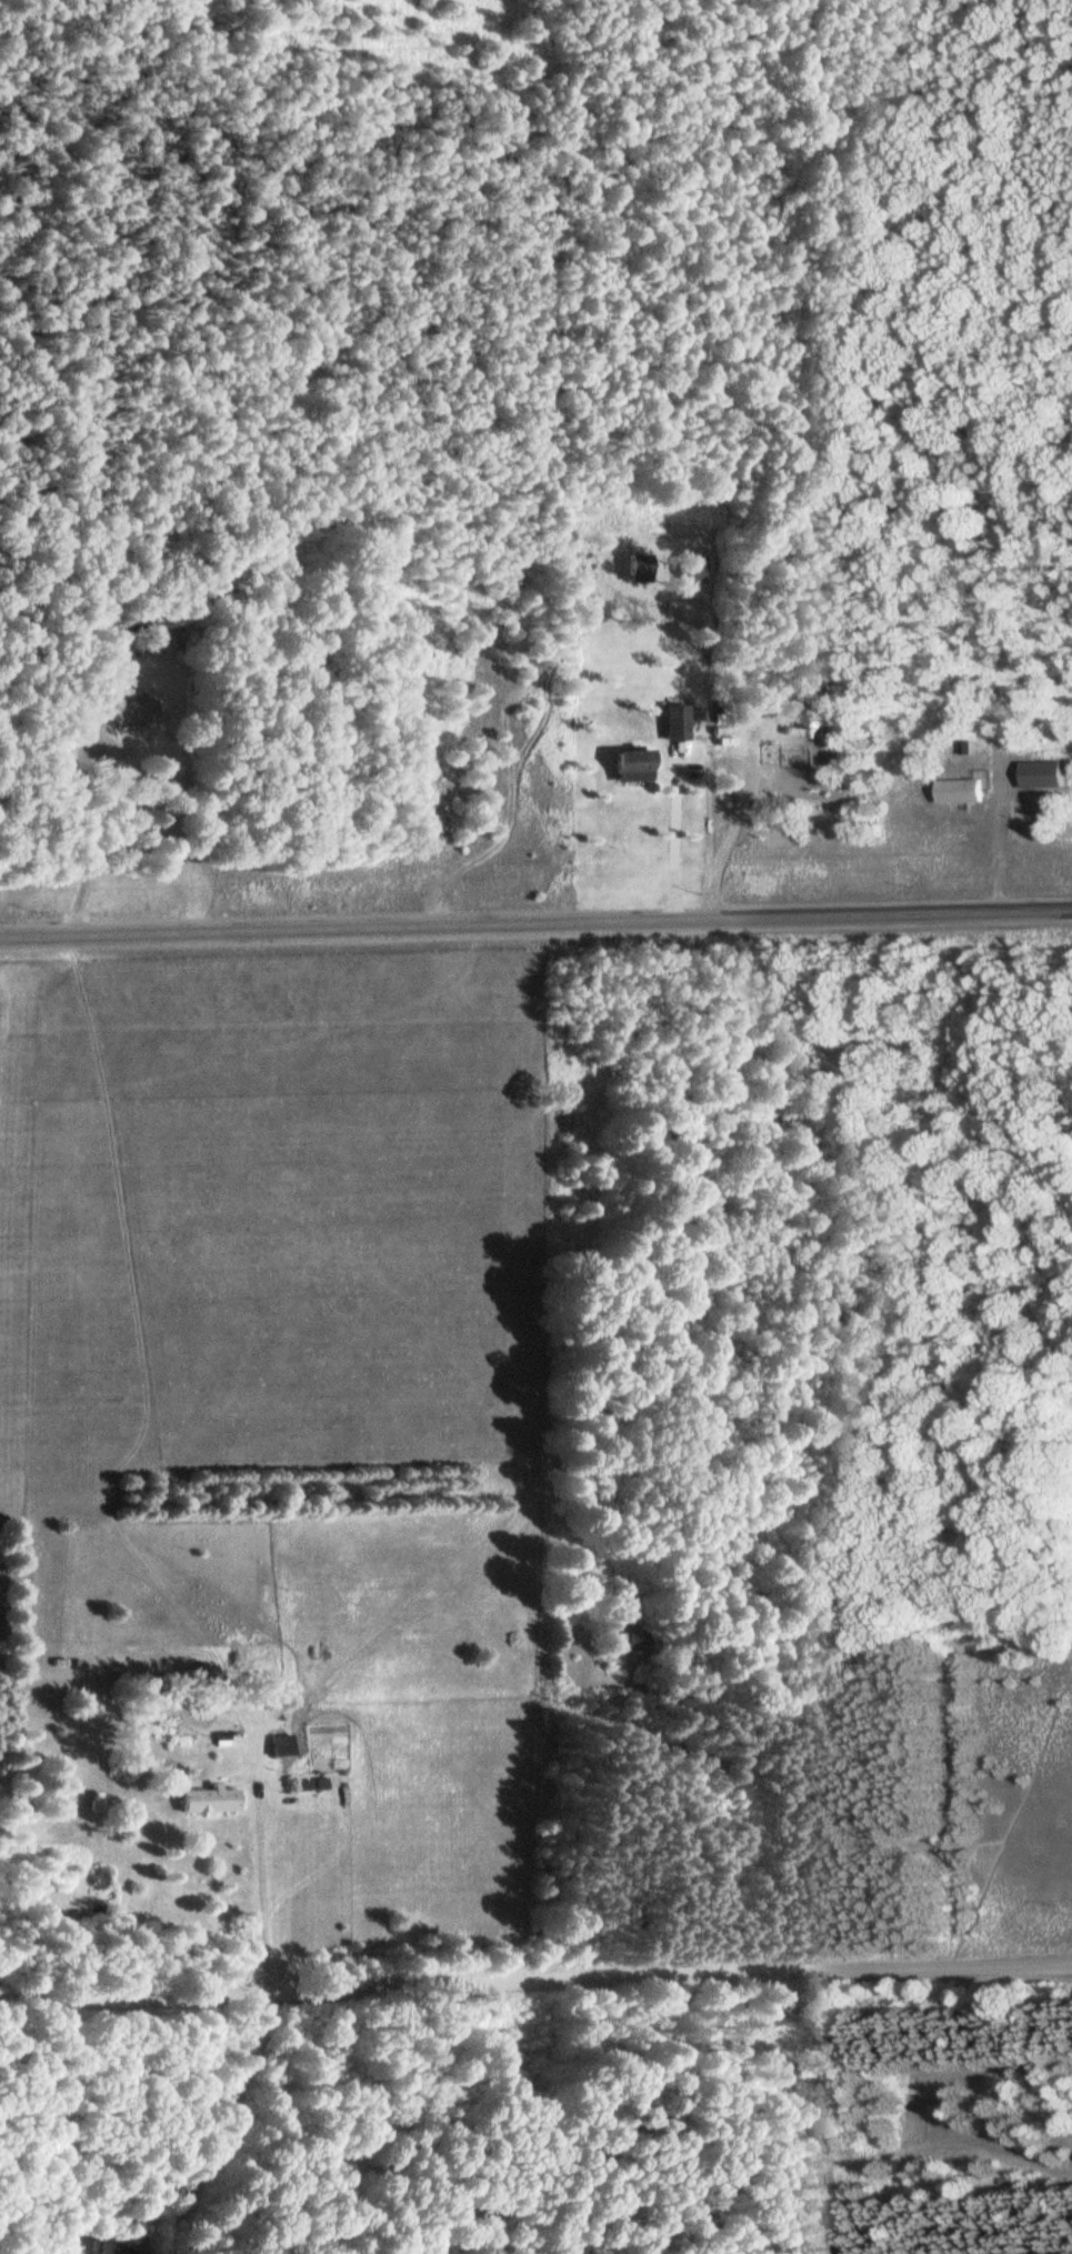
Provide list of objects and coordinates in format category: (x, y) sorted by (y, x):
building: (140, 709)
building: (680, 721)
building: (816, 732)
building: (797, 758)
building: (60, 759)
building: (635, 765)
building: (1043, 773)
building: (961, 790)
road: (535, 923)
building: (638, 1641)
building: (287, 1744)
building: (214, 1800)
road: (535, 1982)
road: (184, 2103)
building: (83, 2240)
building: (119, 2248)

